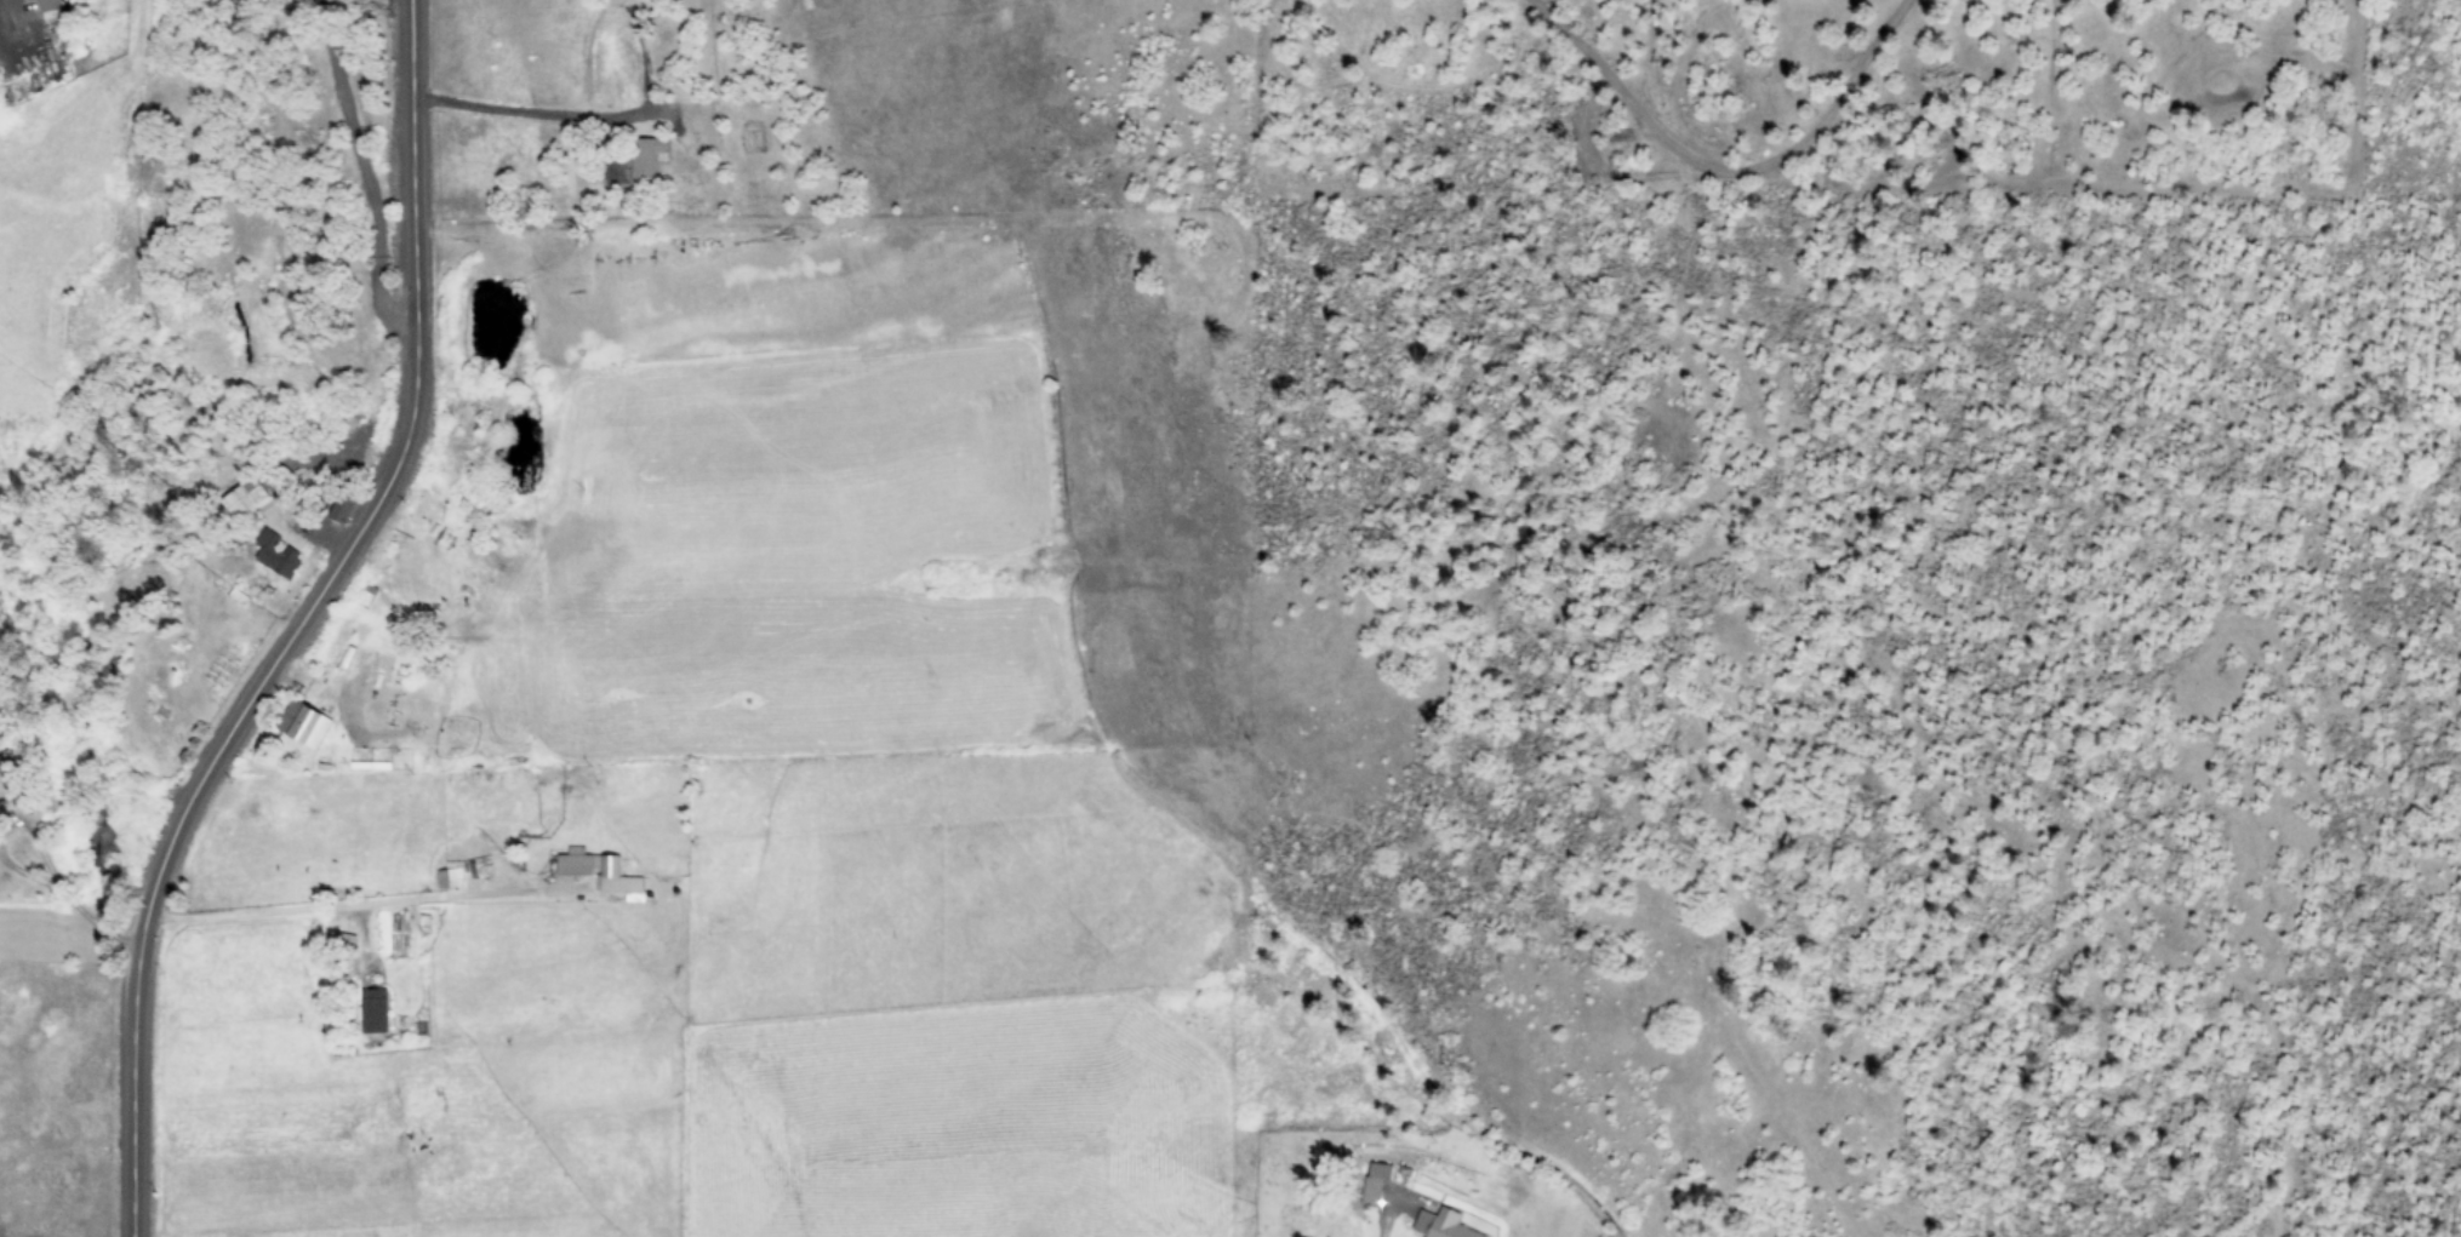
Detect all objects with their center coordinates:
building: (53, 11)
building: (649, 158)
road: (364, 171)
building: (346, 508)
building: (275, 552)
road: (298, 623)
building: (599, 871)
building: (450, 875)
building: (372, 1009)
building: (1372, 1181)
road: (1387, 1213)

